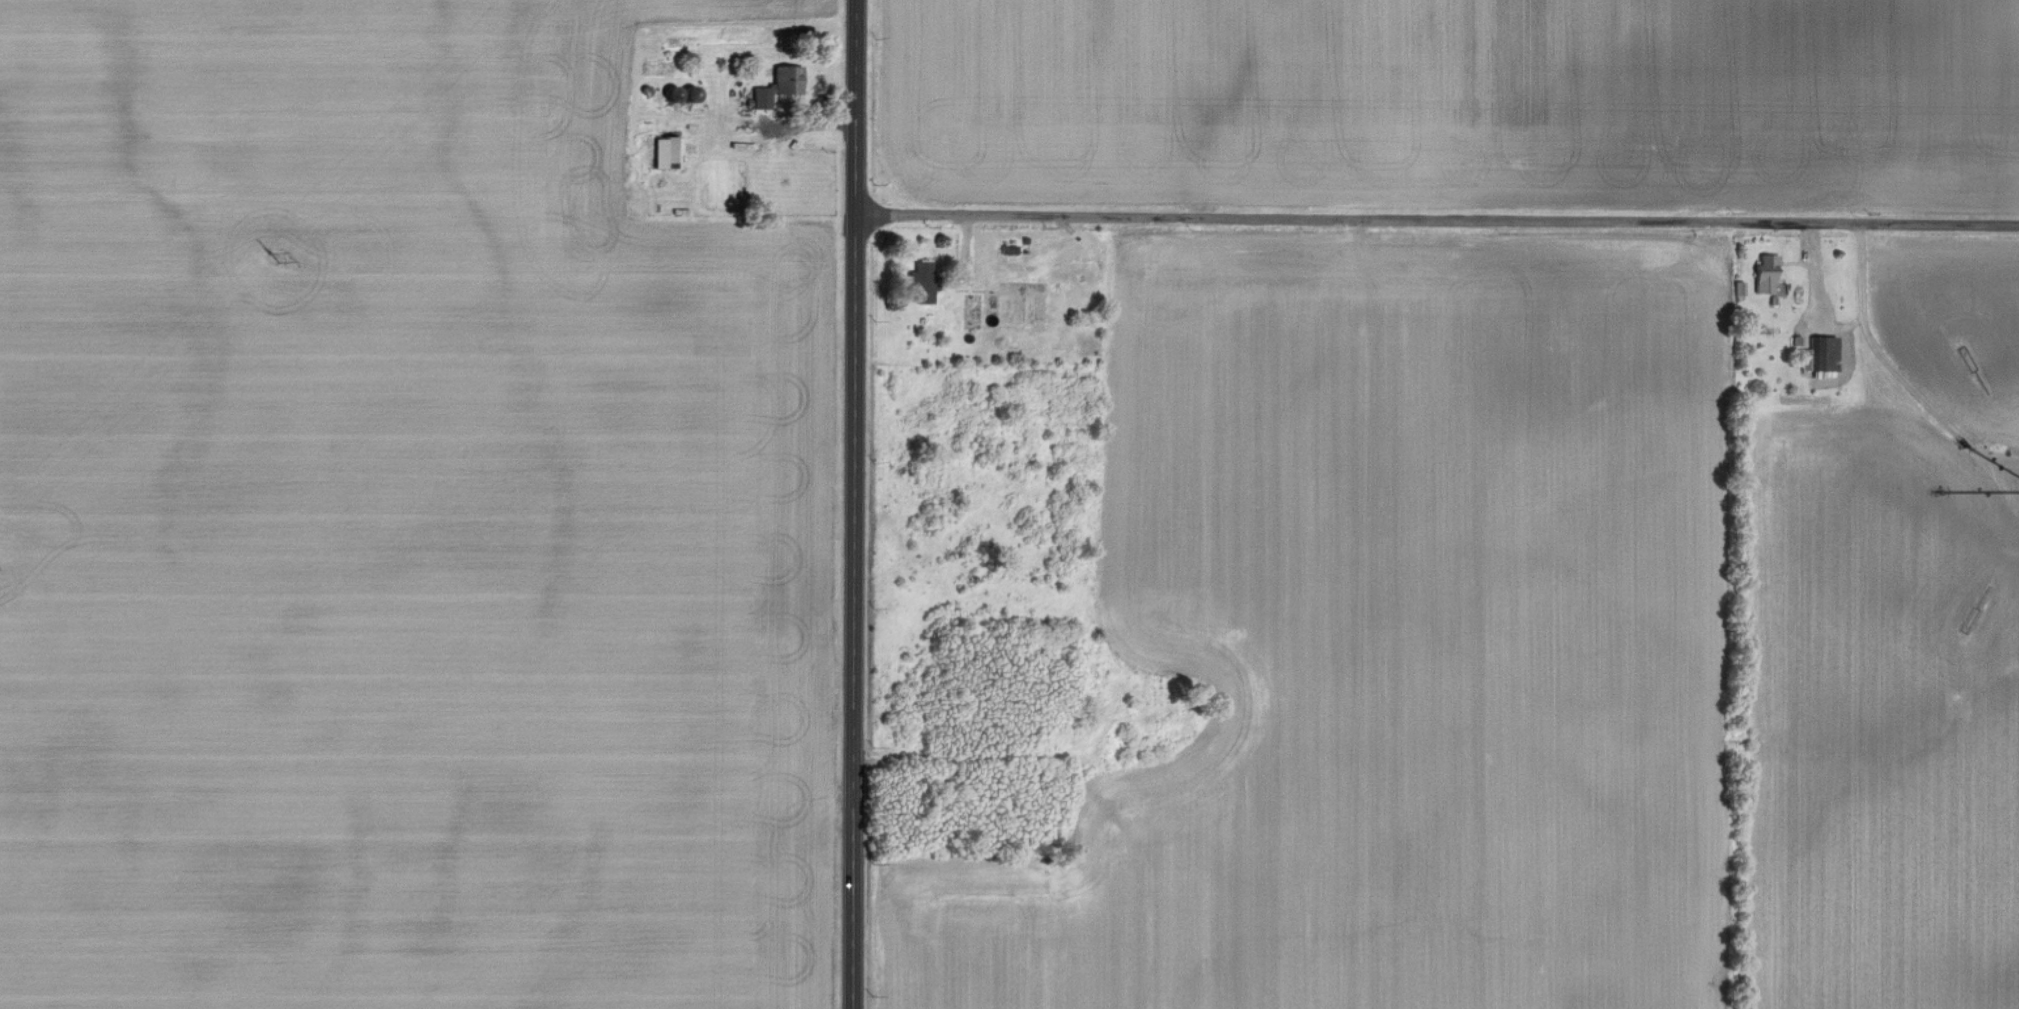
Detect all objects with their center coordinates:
building: (662, 150)
road: (1438, 222)
power tower: (272, 256)
building: (921, 281)
road: (1815, 291)
road: (1895, 367)
road: (855, 504)
park: (1166, 694)

